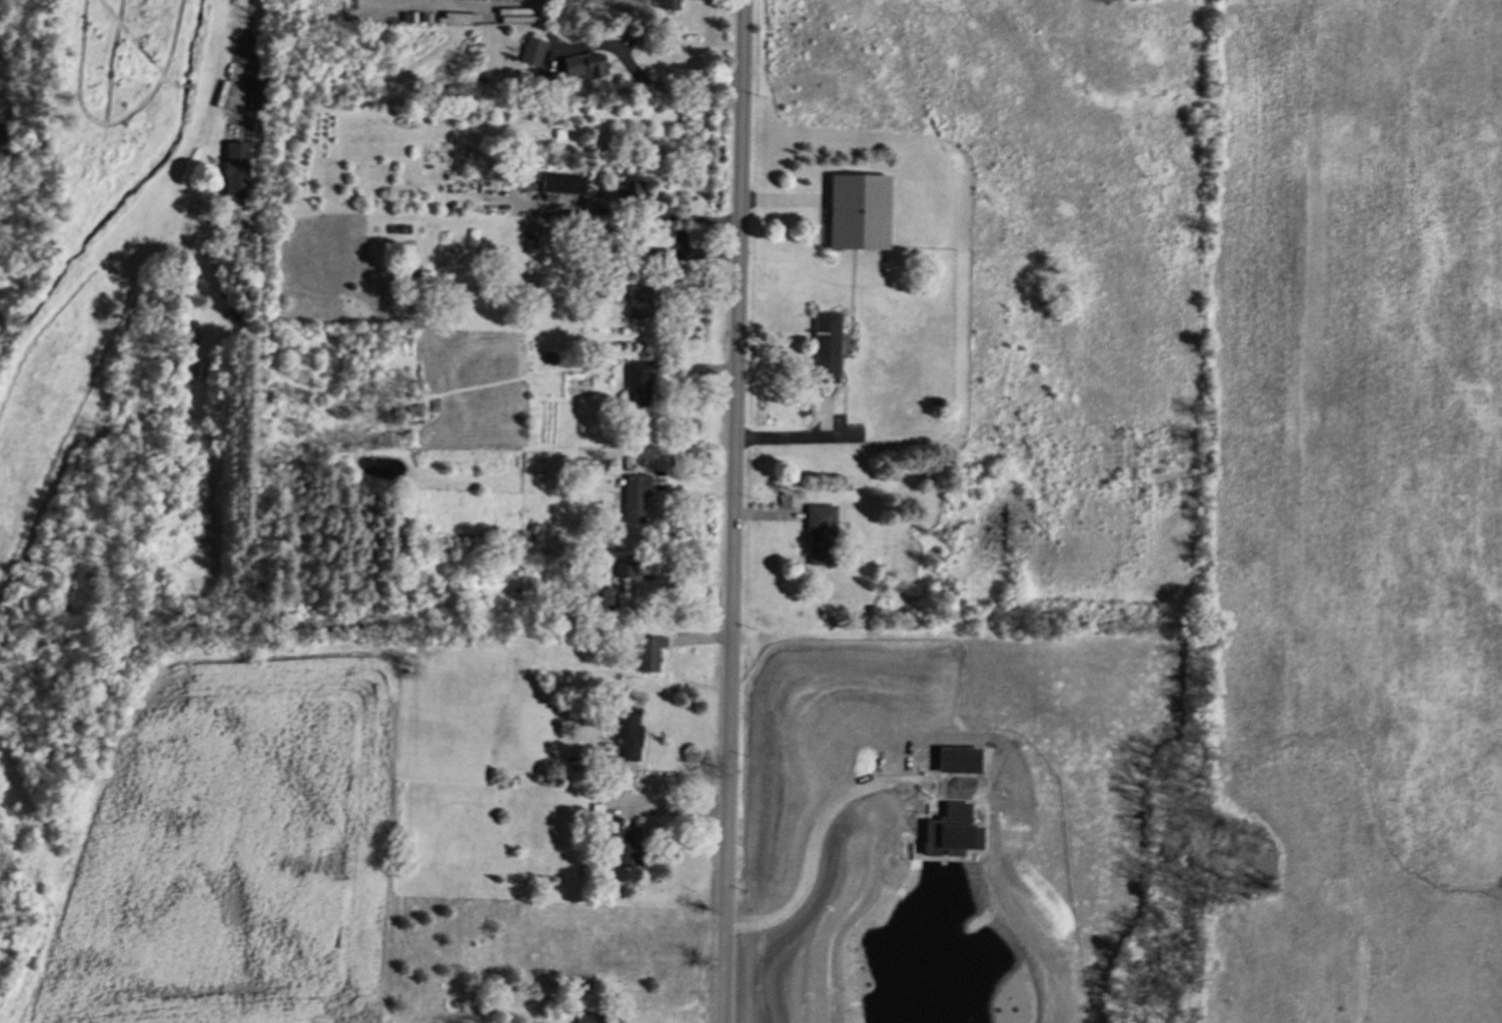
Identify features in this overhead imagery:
building: (475, 0)
building: (668, 4)
road: (248, 40)
building: (532, 50)
building: (585, 64)
road: (674, 86)
building: (254, 93)
building: (235, 170)
building: (562, 183)
building: (630, 190)
building: (857, 210)
road: (632, 213)
building: (529, 243)
building: (639, 301)
building: (232, 313)
building: (825, 346)
building: (637, 382)
road: (800, 435)
building: (634, 497)
crop: (1364, 509)
road: (732, 511)
building: (819, 531)
building: (624, 569)
building: (598, 599)
building: (648, 652)
building: (627, 734)
road: (822, 840)
building: (626, 846)
crop: (238, 848)
building: (587, 1017)

